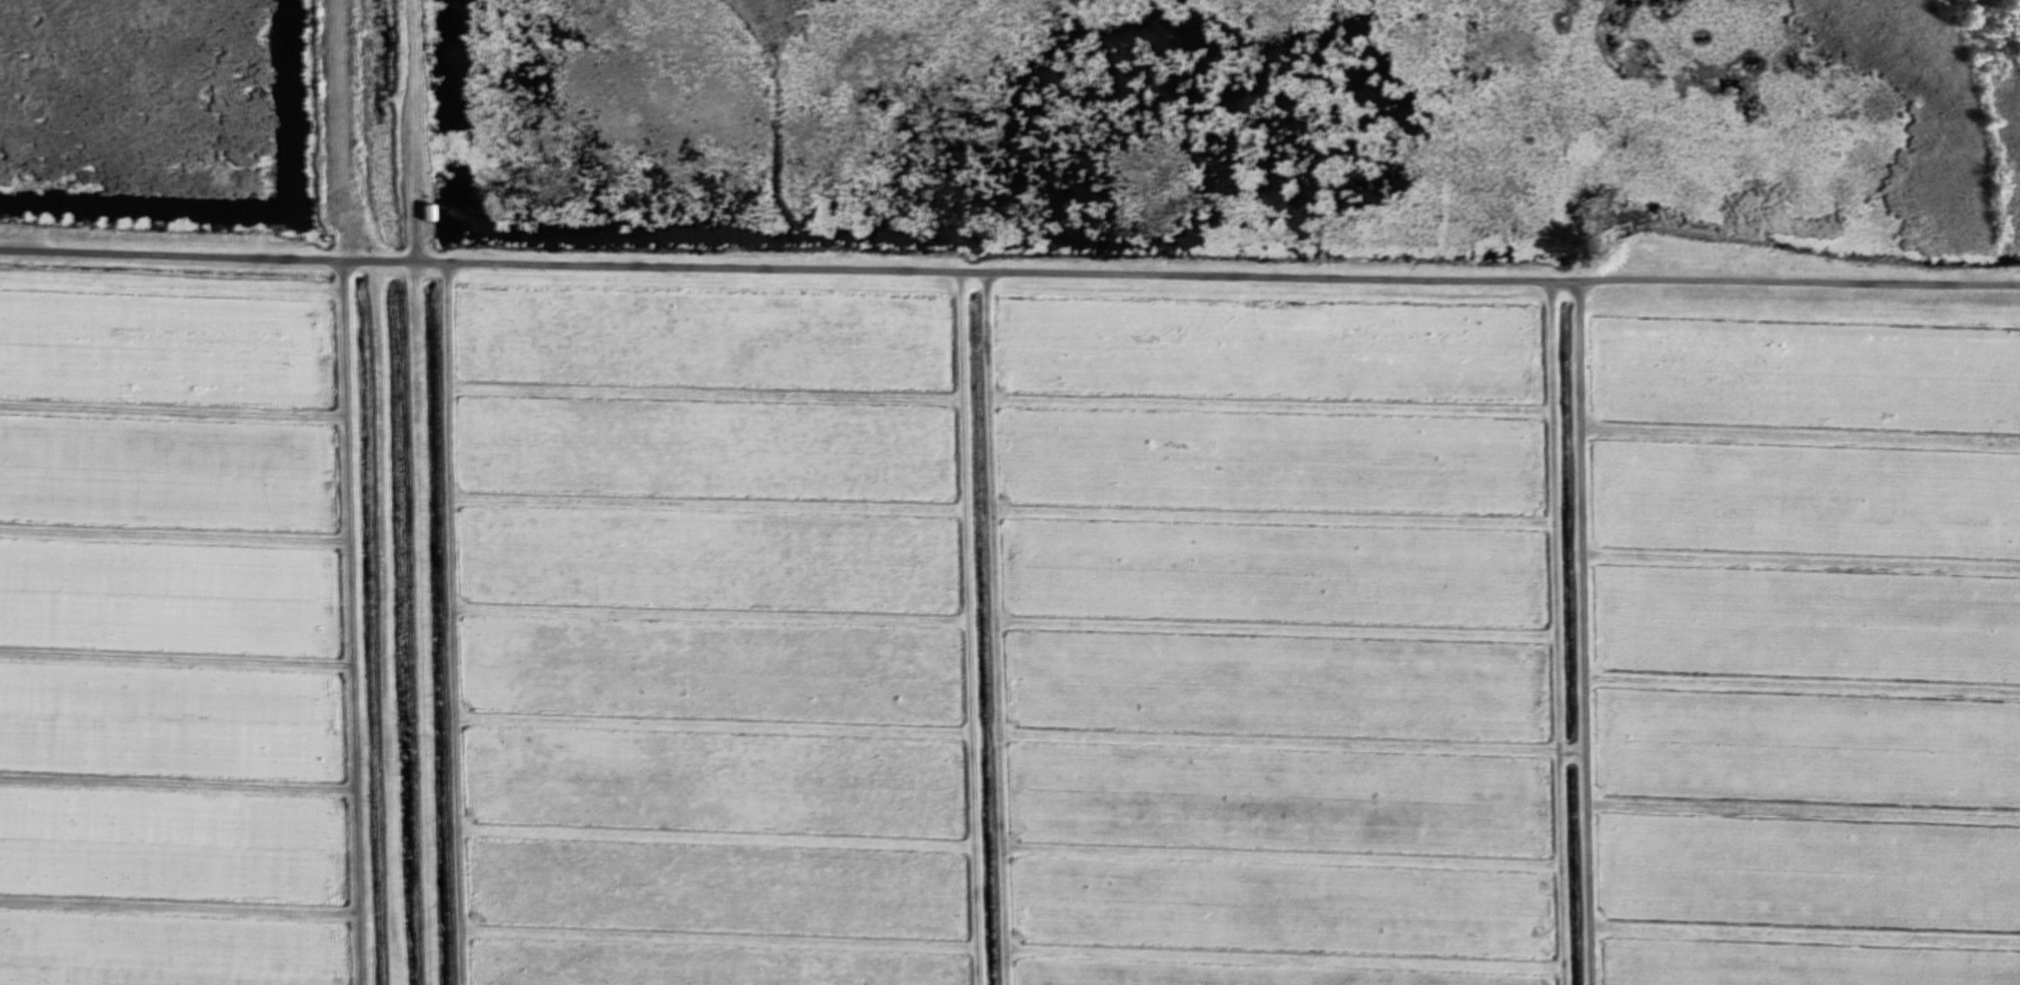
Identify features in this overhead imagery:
building: (424, 213)
crop: (1002, 619)

